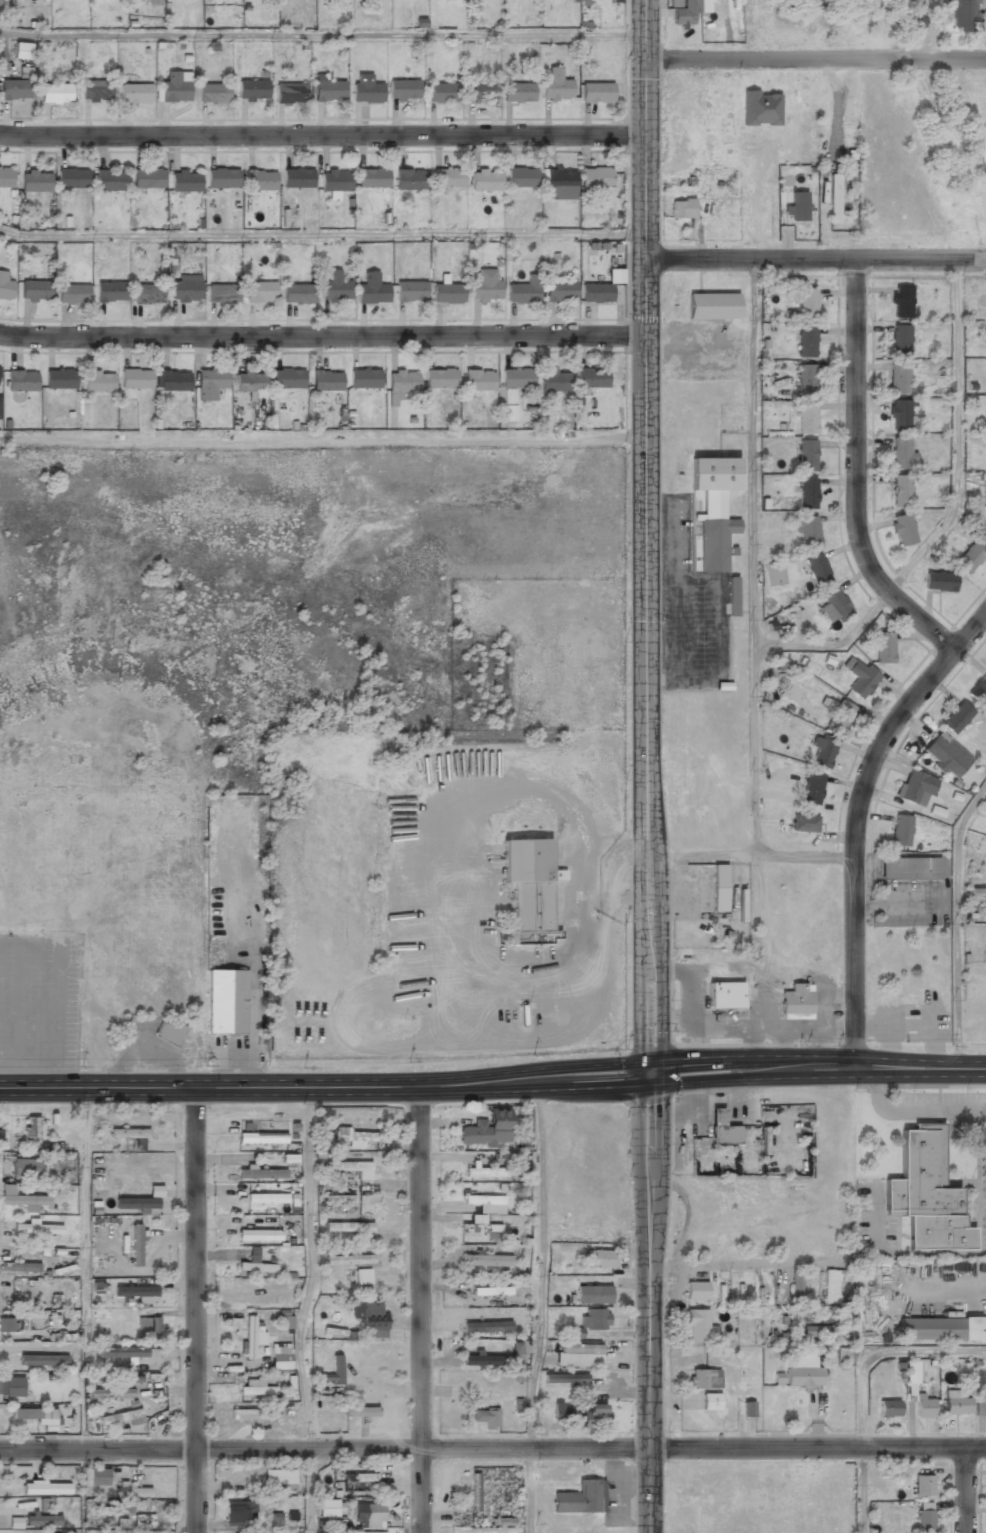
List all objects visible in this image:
building: (155, 3)
building: (684, 12)
building: (961, 14)
building: (920, 17)
road: (321, 34)
building: (23, 50)
road: (815, 60)
road: (644, 68)
building: (555, 86)
building: (174, 87)
building: (365, 88)
building: (403, 88)
building: (328, 89)
building: (14, 90)
building: (252, 90)
building: (481, 90)
building: (95, 91)
building: (441, 91)
building: (596, 91)
building: (290, 92)
building: (518, 92)
building: (213, 93)
building: (55, 94)
building: (135, 94)
building: (760, 108)
road: (321, 136)
building: (447, 176)
building: (595, 177)
building: (6, 178)
building: (222, 178)
building: (297, 178)
building: (372, 178)
building: (410, 178)
building: (521, 178)
building: (73, 179)
building: (147, 179)
building: (185, 180)
building: (260, 180)
building: (336, 180)
building: (485, 180)
building: (111, 181)
building: (36, 182)
building: (560, 184)
building: (833, 198)
building: (798, 206)
building: (680, 208)
road: (322, 235)
road: (815, 260)
building: (5, 286)
building: (335, 286)
building: (485, 286)
building: (371, 289)
building: (186, 290)
building: (523, 290)
building: (35, 291)
building: (111, 291)
building: (410, 291)
building: (559, 291)
building: (596, 292)
building: (73, 293)
building: (147, 293)
building: (260, 293)
building: (447, 293)
building: (222, 294)
building: (297, 294)
building: (805, 302)
building: (900, 302)
building: (712, 306)
road: (322, 336)
building: (899, 339)
building: (805, 341)
building: (0, 367)
building: (591, 377)
building: (899, 377)
building: (288, 378)
building: (364, 378)
building: (440, 378)
building: (806, 378)
building: (60, 379)
building: (135, 379)
building: (516, 379)
building: (172, 380)
building: (326, 380)
building: (479, 380)
building: (554, 380)
building: (22, 381)
building: (98, 382)
building: (250, 382)
building: (210, 383)
building: (401, 383)
building: (510, 404)
building: (0, 408)
building: (899, 414)
building: (806, 417)
road: (322, 442)
building: (901, 452)
building: (806, 453)
road: (855, 474)
building: (900, 489)
building: (806, 492)
building: (713, 507)
road: (950, 514)
building: (903, 528)
building: (807, 530)
building: (983, 533)
building: (969, 556)
road: (753, 557)
building: (817, 570)
building: (939, 580)
building: (732, 596)
road: (645, 603)
building: (835, 605)
parking lot: (688, 607)
building: (884, 646)
building: (859, 677)
building: (978, 689)
building: (837, 714)
building: (956, 717)
building: (822, 752)
building: (944, 756)
building: (812, 788)
building: (915, 788)
road: (854, 818)
building: (803, 823)
building: (900, 830)
road: (749, 854)
building: (908, 868)
building: (529, 885)
building: (719, 888)
road: (954, 921)
building: (724, 996)
parking lot: (41, 999)
building: (227, 1002)
building: (795, 1003)
building: (169, 1033)
road: (493, 1081)
building: (487, 1129)
building: (722, 1129)
building: (31, 1132)
building: (128, 1133)
building: (261, 1137)
building: (353, 1138)
building: (351, 1168)
building: (25, 1169)
building: (485, 1173)
building: (261, 1174)
building: (926, 1194)
building: (20, 1198)
building: (267, 1199)
building: (338, 1199)
building: (484, 1203)
building: (135, 1205)
building: (347, 1226)
building: (479, 1227)
building: (259, 1236)
building: (137, 1245)
building: (349, 1259)
building: (601, 1259)
building: (486, 1260)
road: (540, 1263)
building: (254, 1264)
building: (19, 1268)
road: (308, 1269)
building: (361, 1276)
building: (795, 1286)
building: (830, 1287)
building: (491, 1291)
building: (695, 1291)
building: (136, 1292)
building: (592, 1295)
road: (648, 1301)
road: (419, 1309)
road: (195, 1310)
building: (368, 1313)
building: (819, 1318)
building: (594, 1319)
building: (8, 1326)
building: (487, 1326)
building: (697, 1326)
building: (148, 1327)
building: (942, 1330)
building: (818, 1331)
building: (251, 1335)
road: (880, 1351)
building: (122, 1352)
building: (578, 1355)
building: (280, 1357)
building: (493, 1358)
building: (799, 1371)
building: (334, 1372)
building: (911, 1378)
building: (565, 1379)
building: (703, 1379)
building: (11, 1388)
building: (257, 1390)
building: (110, 1394)
building: (710, 1401)
building: (954, 1404)
building: (980, 1407)
building: (750, 1408)
building: (888, 1408)
building: (557, 1411)
building: (360, 1412)
building: (251, 1415)
building: (35, 1416)
building: (593, 1416)
building: (119, 1418)
building: (485, 1418)
road: (492, 1448)
building: (95, 1478)
building: (359, 1478)
building: (279, 1479)
building: (923, 1486)
building: (46, 1488)
road: (529, 1490)
road: (859, 1490)
road: (963, 1490)
building: (132, 1491)
road: (307, 1491)
building: (475, 1493)
building: (579, 1497)
building: (25, 1501)
building: (43, 1504)
building: (326, 1509)
building: (239, 1513)
building: (369, 1515)
building: (503, 1517)
building: (43, 1520)
building: (142, 1521)
building: (924, 1521)
building: (365, 1532)

